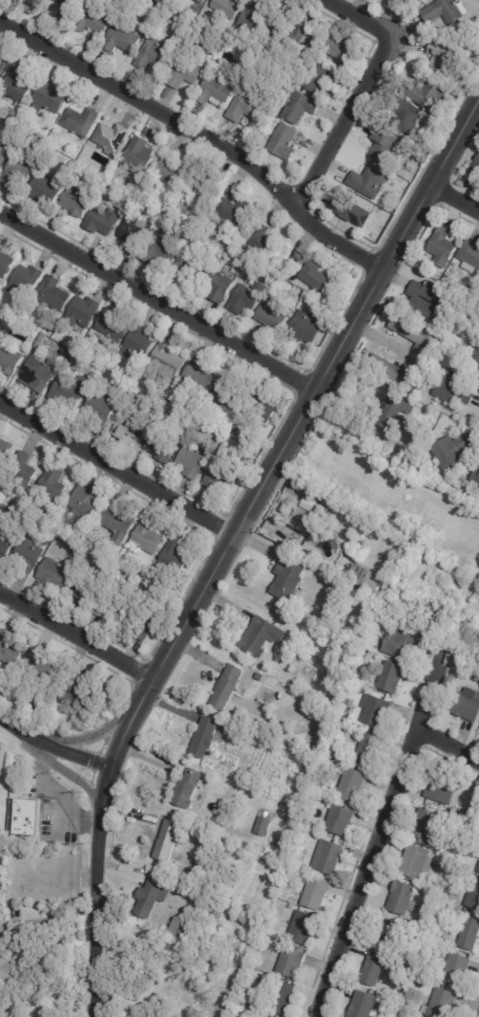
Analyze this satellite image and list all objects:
building: (421, 0)
building: (92, 1)
building: (202, 1)
building: (418, 1)
building: (39, 2)
building: (228, 7)
building: (71, 8)
building: (197, 9)
building: (443, 12)
building: (95, 20)
building: (256, 20)
building: (292, 33)
building: (123, 40)
building: (336, 46)
building: (154, 55)
building: (446, 55)
building: (3, 65)
building: (186, 71)
building: (320, 79)
building: (17, 85)
road: (364, 89)
building: (219, 90)
building: (427, 93)
building: (50, 99)
building: (246, 106)
building: (302, 108)
building: (410, 116)
building: (77, 118)
road: (202, 135)
building: (107, 137)
building: (285, 142)
building: (384, 145)
building: (132, 154)
building: (3, 157)
building: (474, 169)
building: (21, 170)
building: (174, 171)
building: (118, 175)
building: (368, 182)
building: (47, 190)
building: (205, 193)
building: (78, 202)
road: (455, 203)
building: (392, 207)
building: (353, 211)
building: (236, 212)
building: (105, 220)
building: (134, 235)
building: (265, 241)
building: (441, 249)
building: (160, 250)
building: (468, 257)
building: (6, 263)
building: (188, 270)
building: (320, 278)
building: (27, 280)
building: (218, 285)
building: (467, 291)
building: (54, 295)
building: (248, 298)
building: (426, 301)
road: (158, 307)
building: (22, 311)
building: (31, 311)
building: (86, 312)
building: (273, 316)
building: (113, 325)
building: (307, 327)
building: (413, 336)
building: (43, 337)
building: (140, 344)
building: (40, 345)
building: (475, 354)
building: (10, 357)
building: (74, 359)
building: (165, 362)
building: (85, 364)
building: (392, 373)
building: (41, 374)
building: (200, 375)
building: (71, 390)
building: (450, 391)
building: (228, 394)
building: (103, 408)
building: (263, 410)
building: (390, 413)
building: (131, 427)
building: (163, 444)
building: (6, 450)
building: (447, 452)
building: (193, 462)
road: (119, 468)
building: (25, 469)
building: (432, 470)
road: (389, 474)
building: (223, 478)
building: (474, 479)
building: (54, 486)
building: (87, 504)
building: (307, 514)
building: (118, 524)
building: (83, 534)
building: (148, 538)
building: (50, 539)
building: (400, 543)
building: (6, 544)
road: (231, 547)
building: (176, 556)
building: (30, 557)
building: (347, 571)
building: (57, 575)
building: (145, 575)
building: (370, 578)
building: (290, 581)
building: (85, 588)
building: (113, 607)
building: (146, 621)
building: (319, 626)
road: (76, 635)
building: (263, 636)
building: (400, 644)
building: (10, 653)
building: (341, 662)
building: (38, 668)
building: (260, 677)
building: (392, 677)
building: (228, 687)
building: (242, 692)
building: (78, 694)
building: (467, 704)
building: (377, 711)
building: (45, 713)
road: (99, 732)
building: (208, 734)
road: (446, 745)
road: (53, 747)
building: (368, 749)
building: (19, 757)
building: (19, 763)
road: (75, 777)
building: (352, 784)
building: (189, 789)
building: (442, 789)
building: (38, 791)
road: (57, 795)
building: (269, 810)
building: (459, 812)
building: (28, 816)
building: (341, 820)
building: (427, 824)
building: (264, 826)
road: (378, 830)
building: (1, 834)
building: (315, 835)
building: (169, 840)
building: (329, 857)
building: (418, 861)
building: (478, 868)
building: (194, 878)
building: (468, 886)
building: (317, 892)
building: (155, 893)
building: (280, 895)
building: (402, 897)
building: (474, 897)
building: (179, 926)
building: (304, 927)
building: (469, 933)
building: (395, 935)
building: (282, 938)
building: (451, 943)
building: (292, 962)
building: (443, 963)
building: (8, 968)
building: (215, 968)
building: (458, 969)
building: (374, 970)
building: (176, 972)
building: (427, 974)
building: (162, 988)
building: (285, 997)
building: (442, 1003)
building: (364, 1004)
building: (244, 1009)
building: (257, 1010)
building: (264, 1015)
building: (269, 1015)

